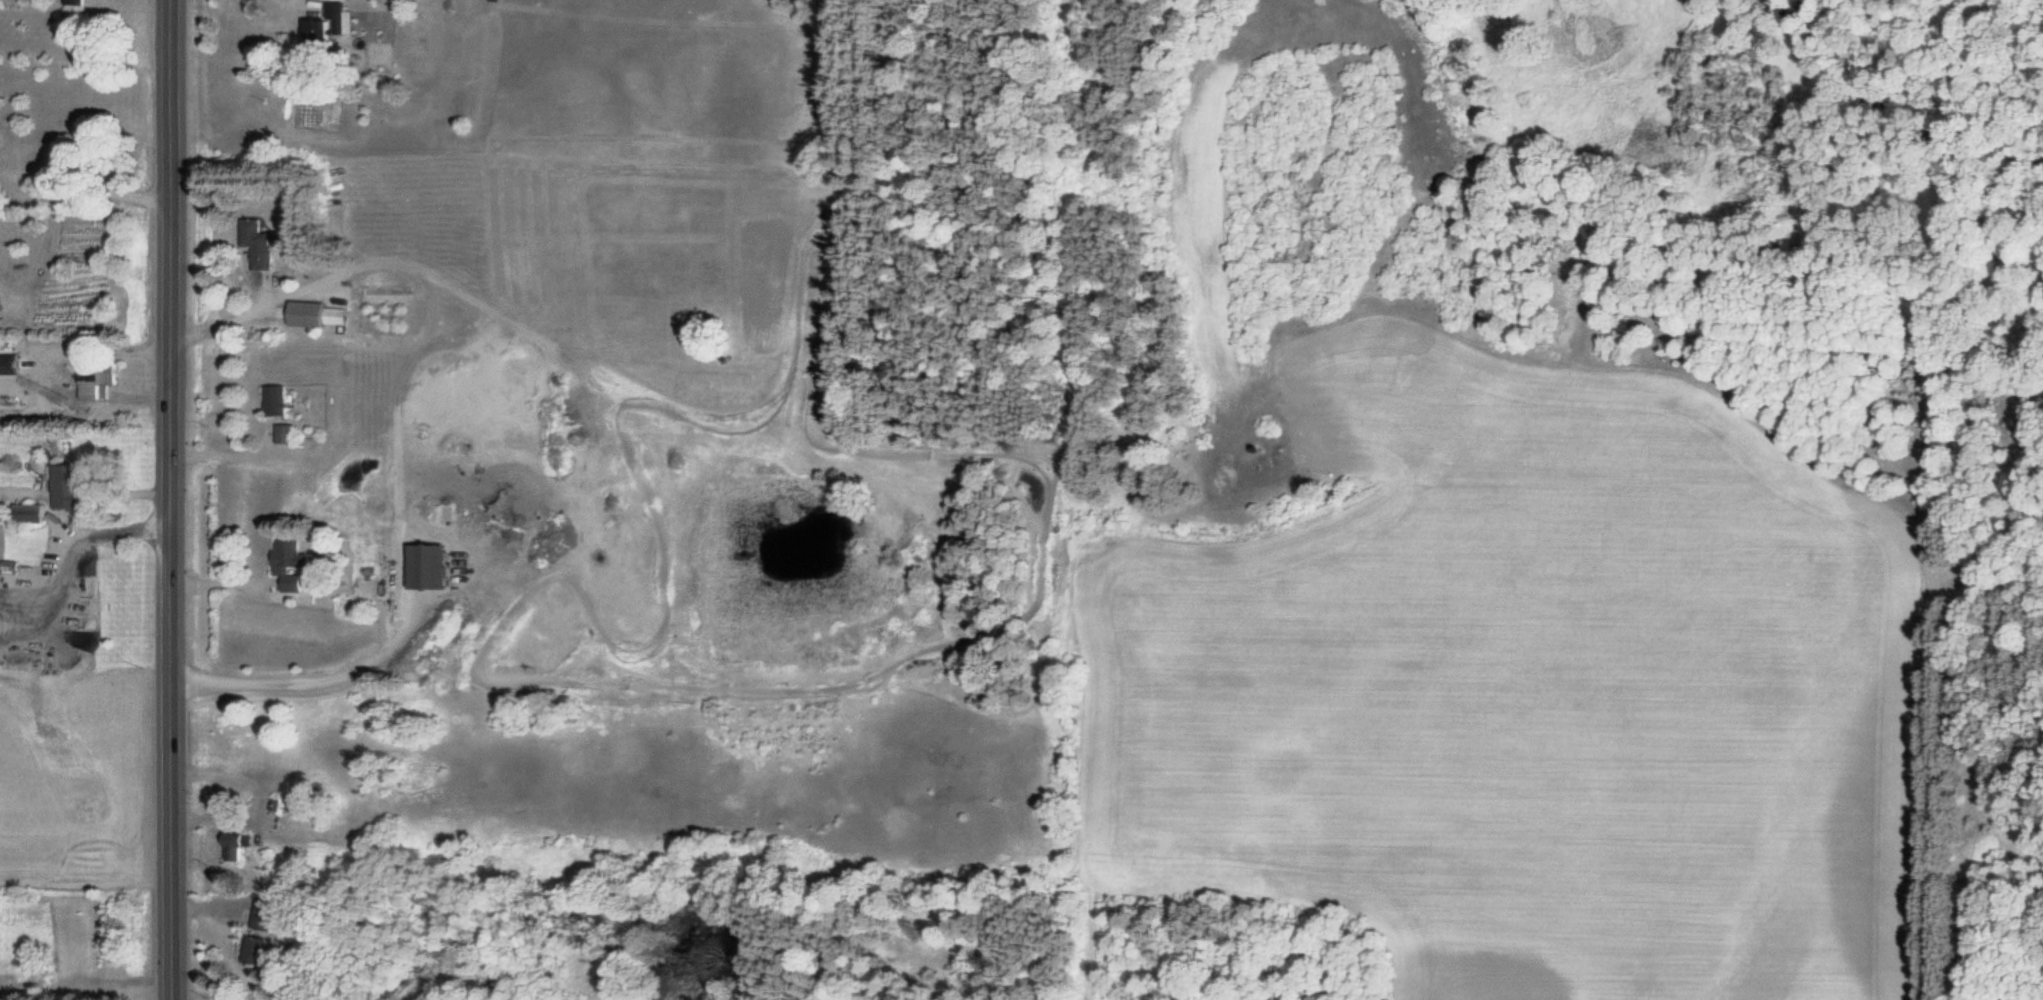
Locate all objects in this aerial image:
building: (69, 2)
building: (324, 26)
building: (254, 243)
building: (323, 316)
building: (89, 379)
building: (273, 401)
building: (283, 434)
building: (65, 488)
road: (171, 500)
building: (26, 515)
building: (286, 555)
building: (230, 849)
building: (260, 919)
building: (253, 951)

